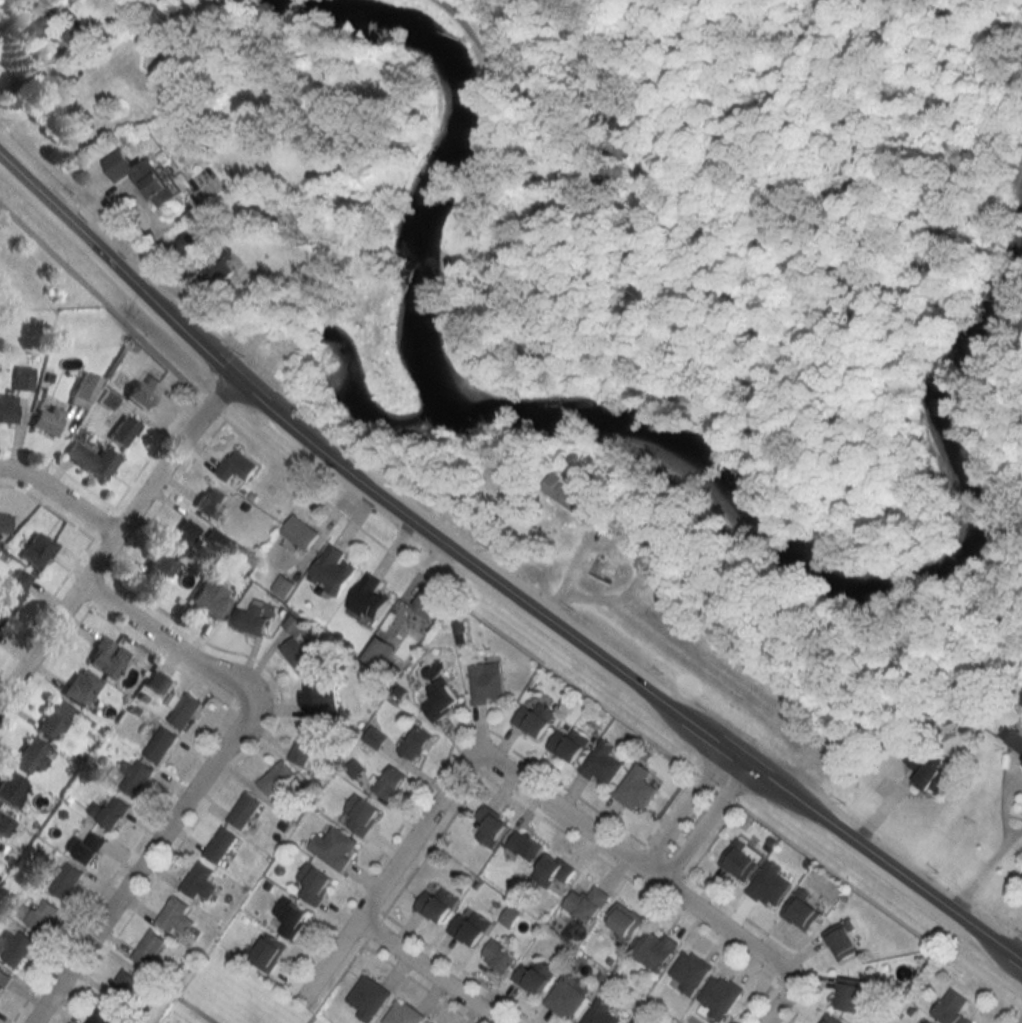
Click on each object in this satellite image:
building: (41, 31)
building: (80, 38)
road: (560, 111)
building: (140, 177)
park: (732, 230)
road: (956, 236)
building: (188, 241)
building: (212, 265)
road: (101, 299)
building: (82, 389)
building: (142, 389)
road: (673, 396)
building: (105, 399)
road: (210, 404)
building: (6, 408)
building: (46, 415)
river: (621, 423)
building: (122, 430)
road: (157, 450)
building: (91, 459)
building: (237, 466)
road: (61, 470)
building: (565, 492)
road: (61, 496)
building: (210, 500)
road: (48, 507)
road: (879, 511)
road: (123, 512)
building: (4, 523)
road: (104, 523)
building: (300, 532)
building: (181, 537)
road: (113, 539)
road: (100, 543)
road: (618, 543)
building: (36, 550)
building: (332, 570)
building: (158, 573)
road: (492, 583)
building: (14, 590)
road: (102, 592)
building: (369, 597)
building: (211, 598)
road: (453, 599)
road: (82, 602)
building: (429, 603)
road: (46, 607)
building: (251, 620)
building: (379, 652)
building: (107, 656)
road: (160, 657)
road: (256, 660)
road: (45, 674)
building: (486, 683)
building: (82, 686)
building: (318, 696)
building: (440, 699)
building: (181, 709)
building: (54, 719)
building: (535, 719)
building: (1011, 738)
building: (415, 743)
building: (570, 744)
building: (159, 745)
building: (305, 745)
road: (453, 755)
building: (31, 756)
road: (469, 764)
building: (602, 765)
road: (486, 767)
road: (440, 769)
building: (927, 770)
building: (135, 777)
building: (276, 781)
road: (198, 783)
building: (389, 783)
road: (714, 787)
building: (11, 789)
building: (636, 789)
road: (1004, 801)
road: (555, 807)
road: (668, 807)
building: (243, 810)
building: (110, 812)
building: (361, 815)
road: (691, 817)
building: (4, 826)
building: (491, 827)
road: (1016, 832)
road: (712, 838)
road: (434, 844)
building: (220, 845)
building: (525, 845)
building: (86, 847)
building: (334, 847)
road: (636, 852)
road: (666, 857)
building: (741, 860)
road: (120, 864)
building: (553, 871)
road: (388, 873)
road: (628, 876)
road: (980, 876)
building: (65, 881)
building: (199, 882)
building: (313, 884)
road: (681, 884)
building: (769, 885)
building: (586, 903)
road: (876, 904)
building: (437, 905)
road: (377, 908)
building: (801, 911)
building: (38, 914)
building: (175, 916)
building: (290, 918)
building: (624, 923)
building: (469, 928)
road: (375, 929)
road: (726, 933)
road: (355, 938)
road: (779, 939)
building: (842, 941)
road: (1015, 945)
building: (15, 947)
building: (148, 948)
building: (655, 950)
building: (266, 954)
building: (498, 957)
road: (462, 968)
road: (422, 972)
building: (689, 972)
building: (534, 977)
road: (776, 977)
road: (151, 980)
building: (4, 981)
road: (335, 983)
road: (418, 983)
road: (82, 986)
building: (121, 988)
road: (788, 992)
building: (850, 994)
building: (567, 996)
building: (720, 996)
building: (368, 998)
road: (759, 1002)
building: (953, 1008)
building: (403, 1014)
building: (831, 1020)
building: (632, 1022)
building: (928, 1022)

